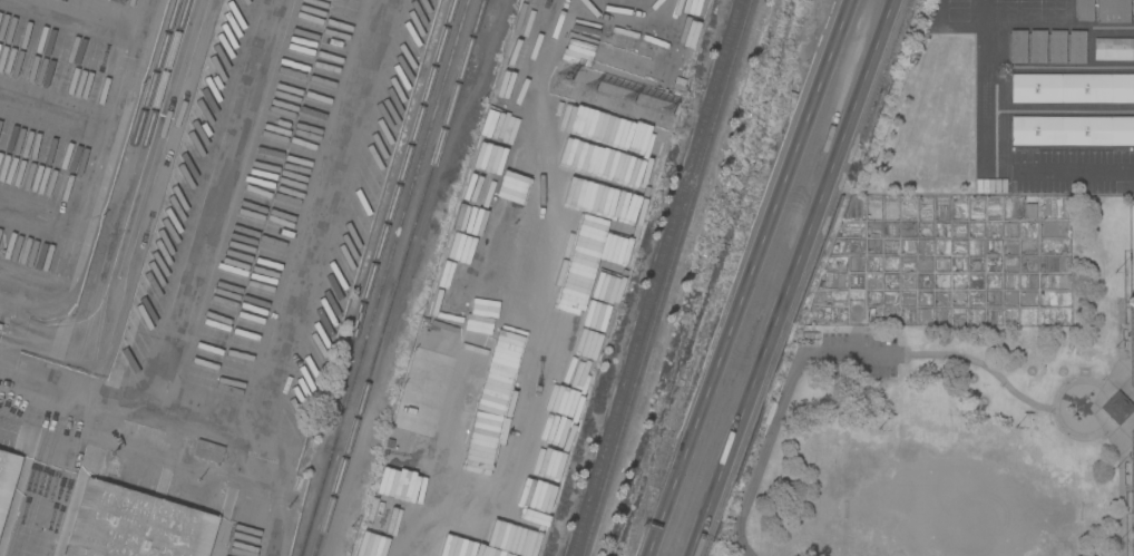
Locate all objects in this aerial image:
building: (1084, 9)
building: (1133, 10)
building: (1112, 11)
building: (1017, 46)
building: (1037, 46)
building: (1056, 46)
building: (1076, 46)
building: (1113, 49)
railway: (154, 78)
power tower: (563, 84)
power tower: (599, 87)
building: (1072, 88)
power tower: (627, 98)
power tower: (658, 105)
railway: (151, 120)
building: (610, 127)
building: (1072, 130)
road: (153, 158)
road: (995, 167)
road: (1071, 168)
road: (94, 177)
railway: (157, 185)
building: (1030, 211)
railway: (388, 224)
railway: (384, 277)
railway: (400, 277)
railway: (653, 277)
railway: (664, 277)
road: (745, 277)
road: (790, 277)
park: (1131, 287)
railway: (91, 320)
building: (0, 326)
building: (325, 336)
building: (574, 349)
road: (1117, 352)
building: (118, 360)
road: (983, 365)
building: (305, 386)
park: (955, 386)
road: (10, 391)
road: (130, 392)
railway: (88, 399)
road: (1054, 407)
road: (778, 408)
building: (1116, 408)
building: (207, 448)
road: (825, 455)
building: (109, 466)
railway: (35, 476)
railway: (41, 477)
building: (7, 478)
road: (1120, 481)
park: (1132, 490)
road: (267, 497)
building: (136, 525)
building: (48, 555)

